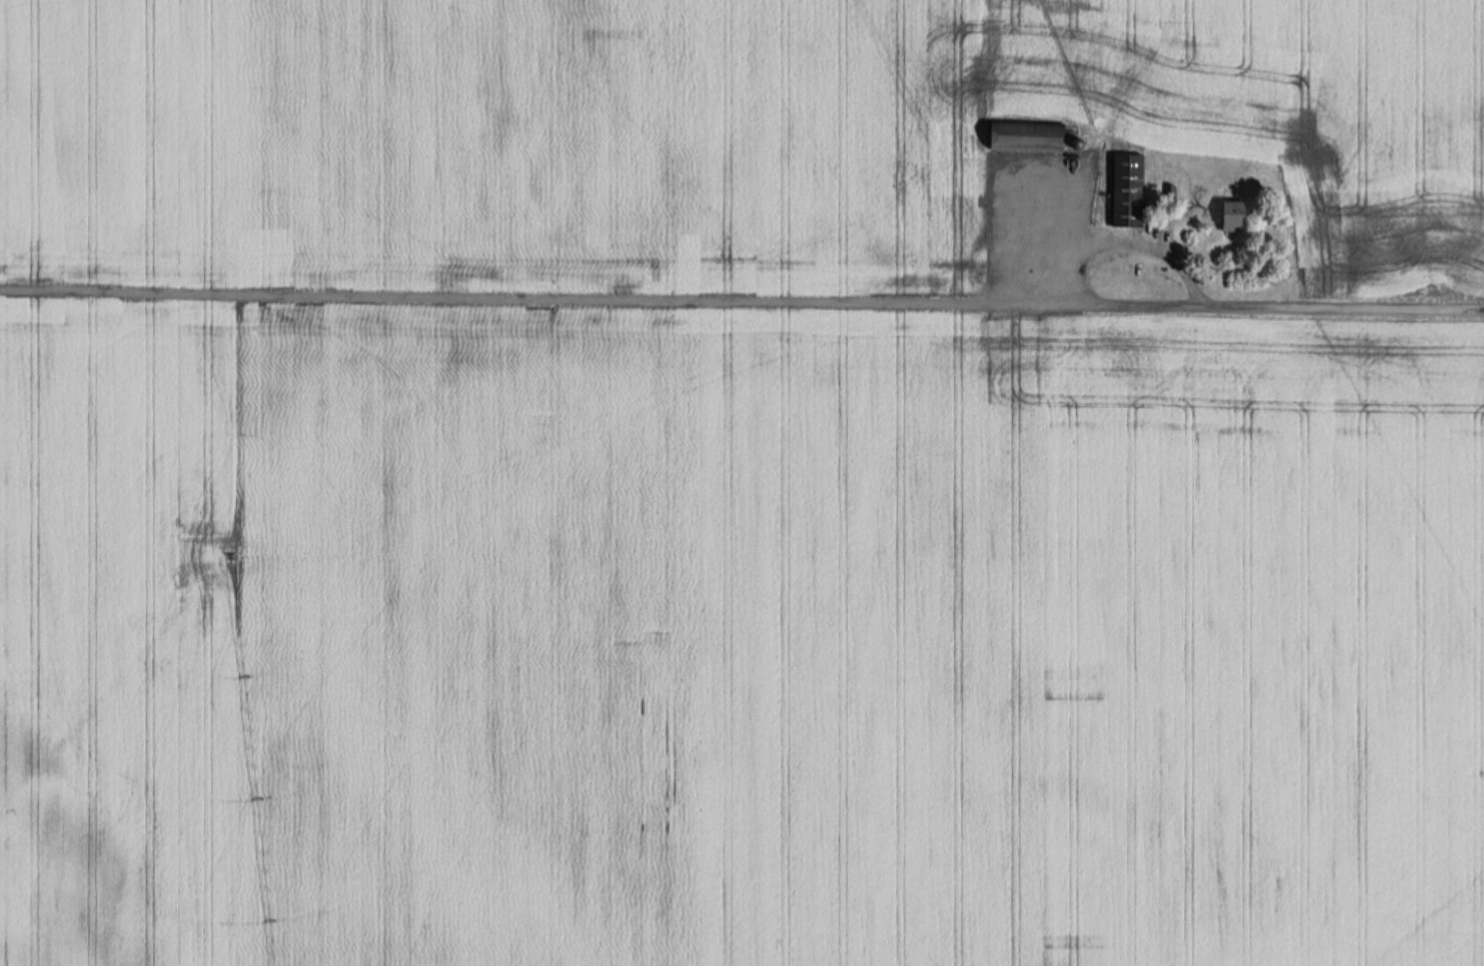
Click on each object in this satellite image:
building: (1033, 134)
building: (1133, 189)
building: (1237, 215)
road: (1118, 243)
road: (1224, 308)
crop: (742, 483)

